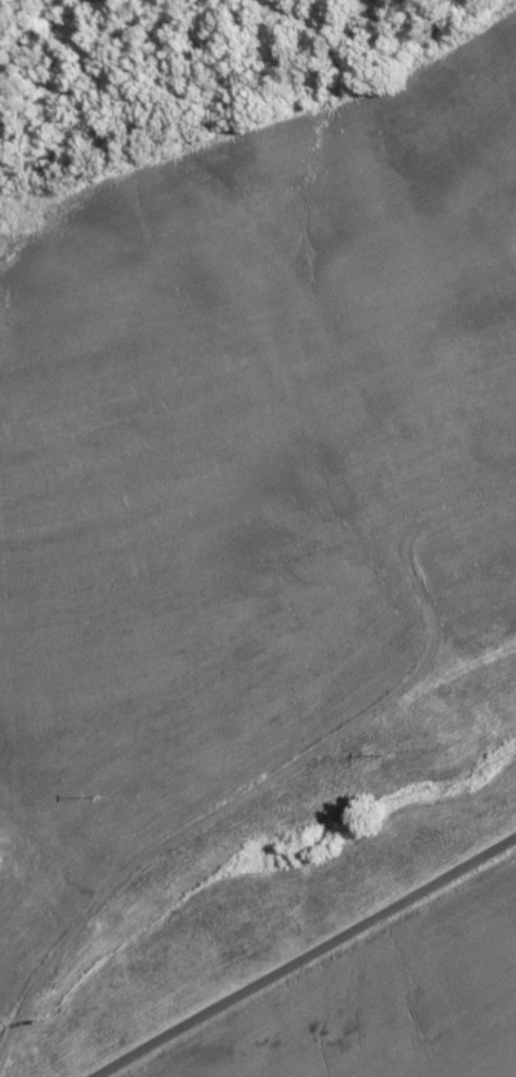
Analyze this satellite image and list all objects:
road: (225, 817)
road: (305, 958)

